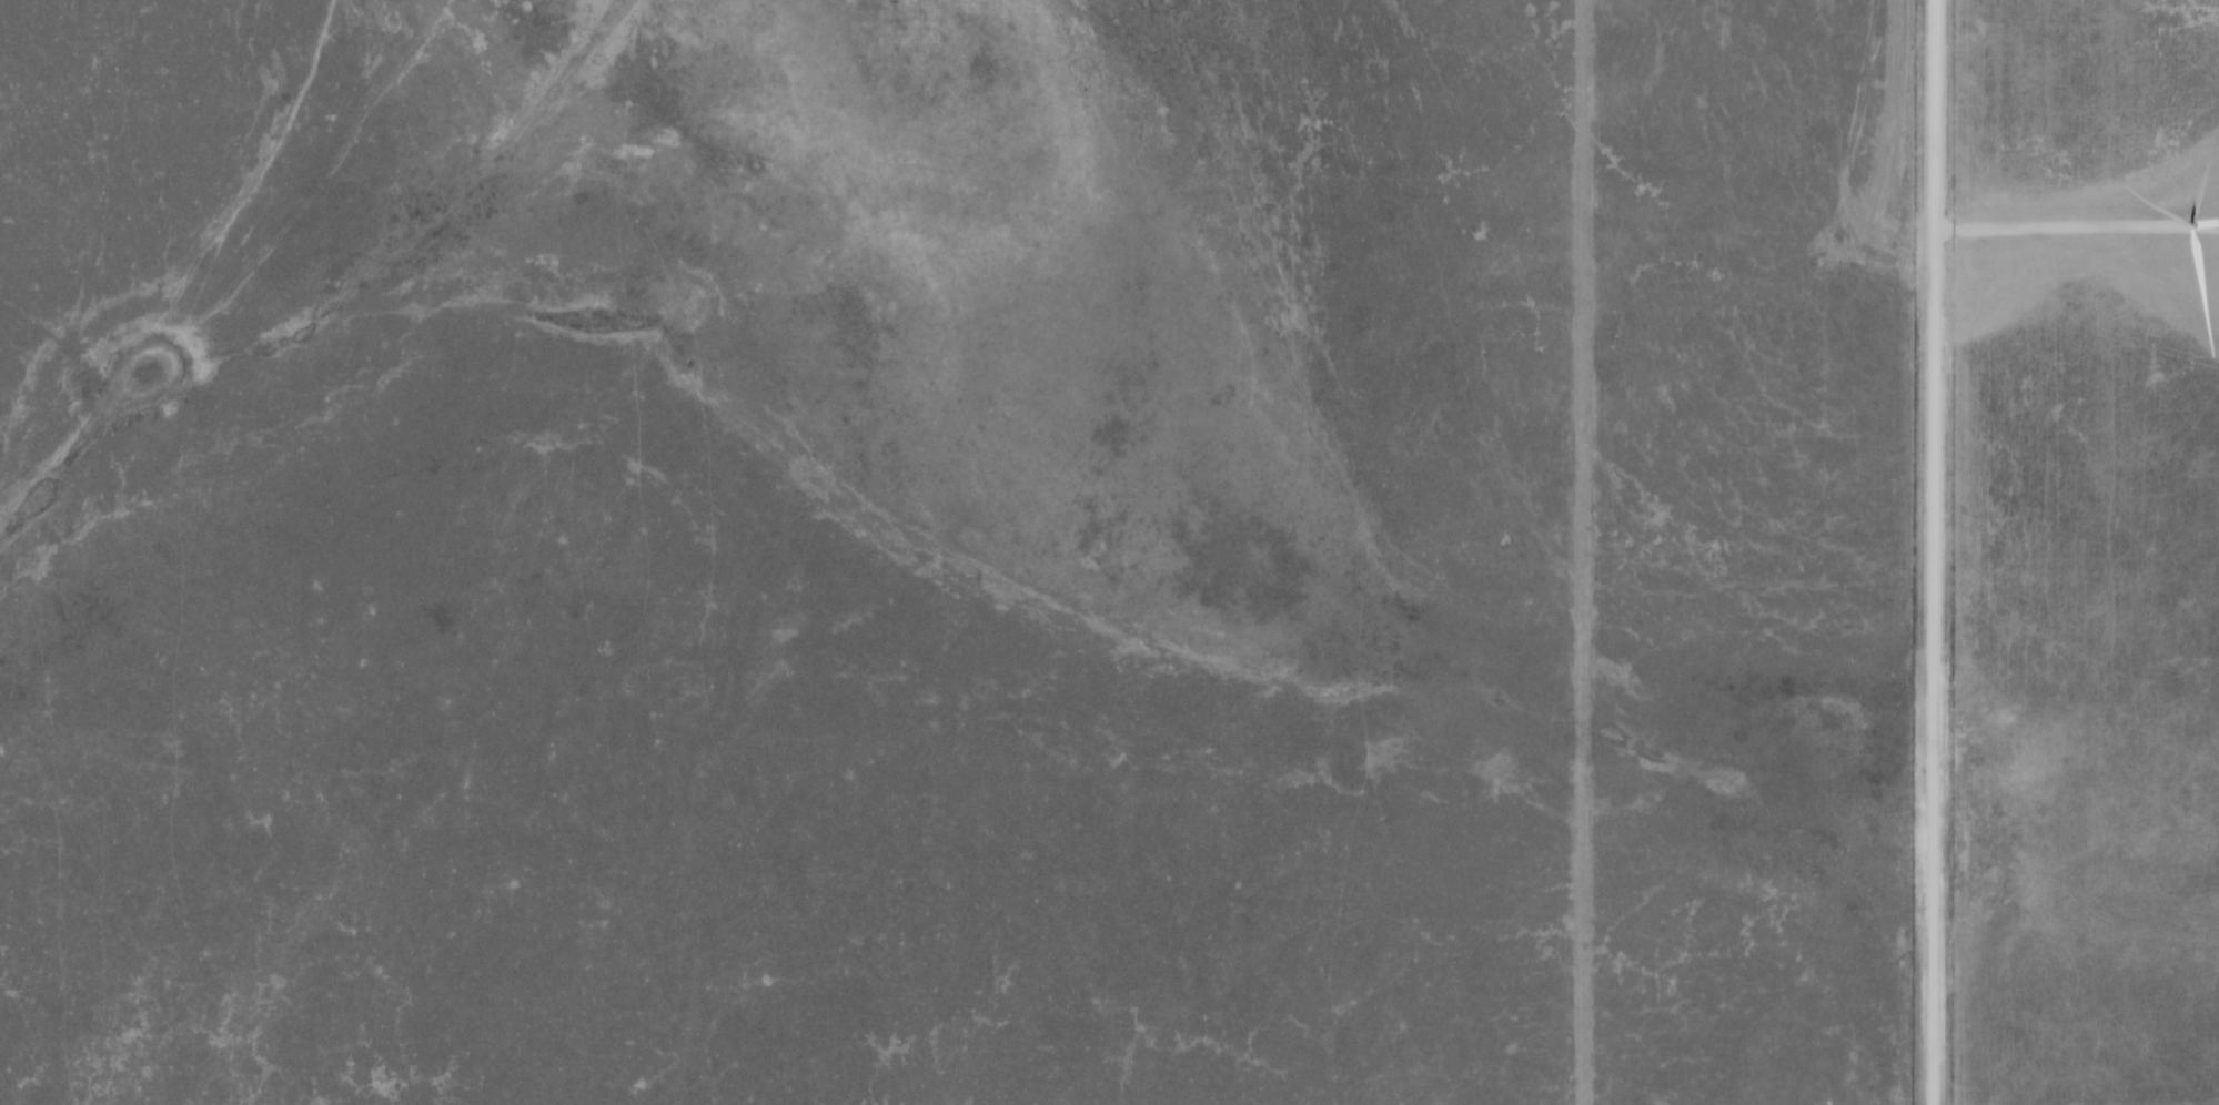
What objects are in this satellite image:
road: (2077, 230)
road: (1934, 552)

